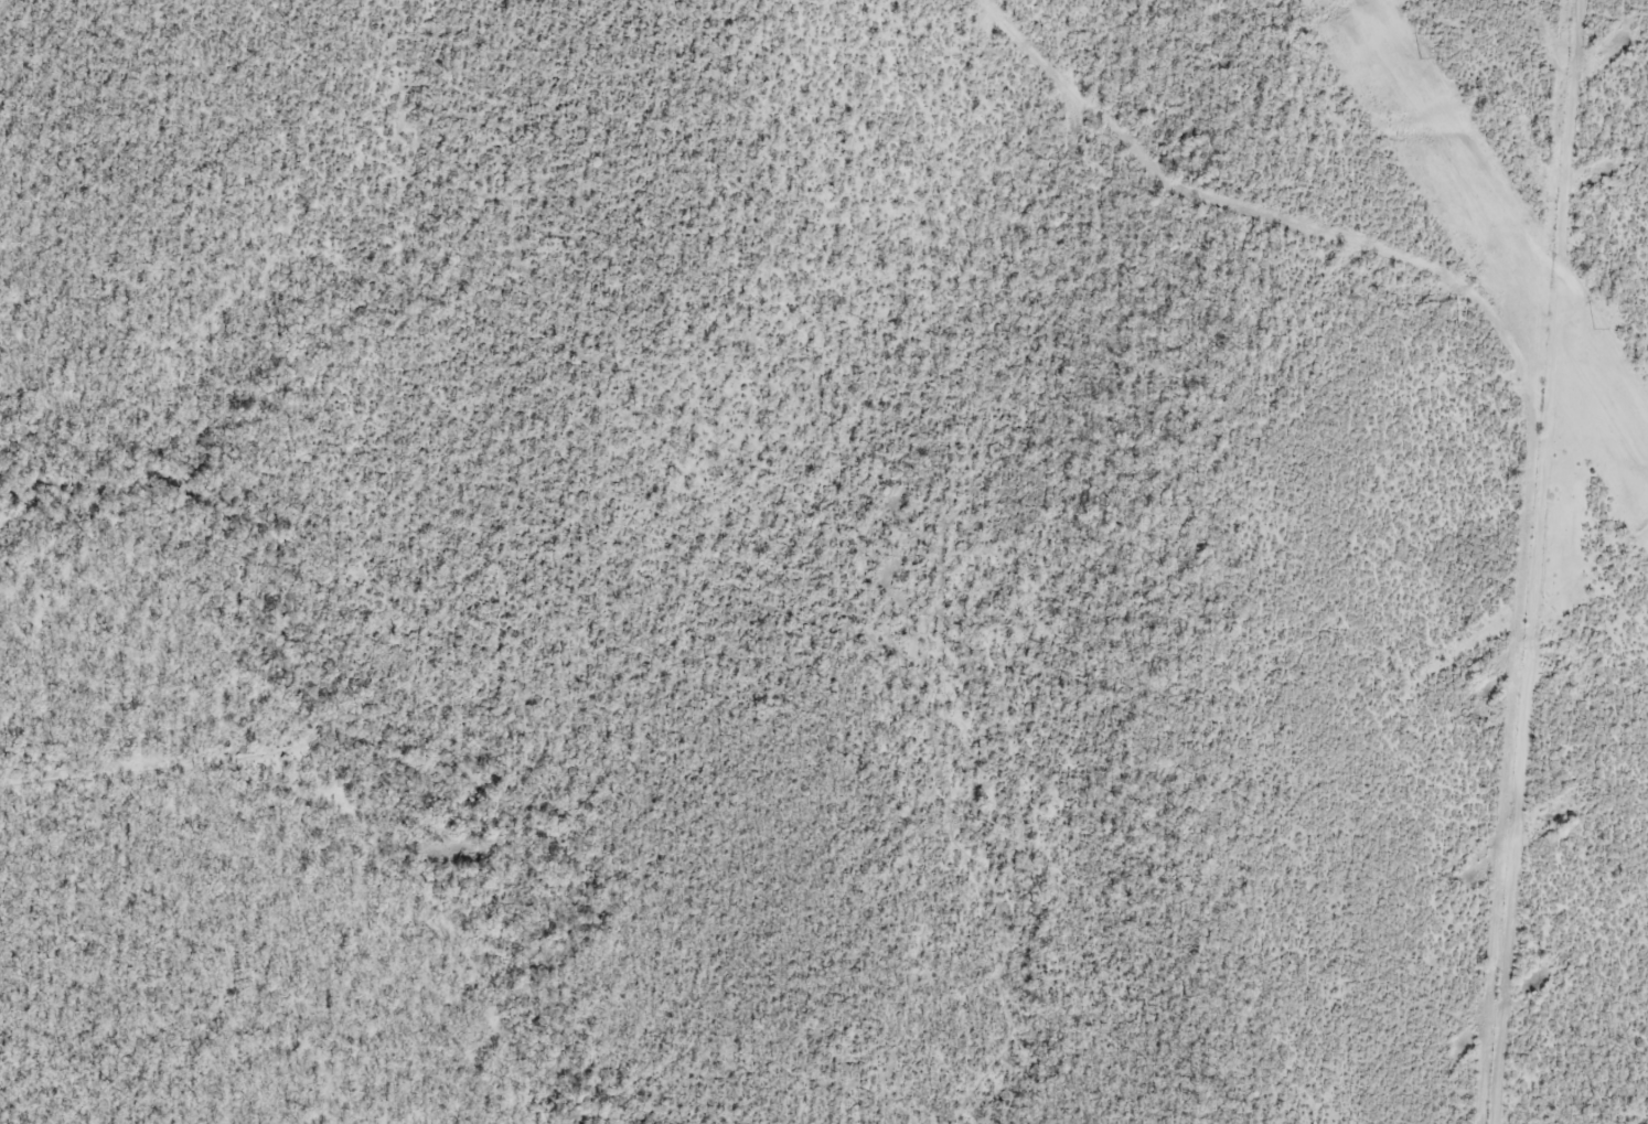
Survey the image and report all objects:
power tower: (1419, 56)
power tower: (1594, 327)

